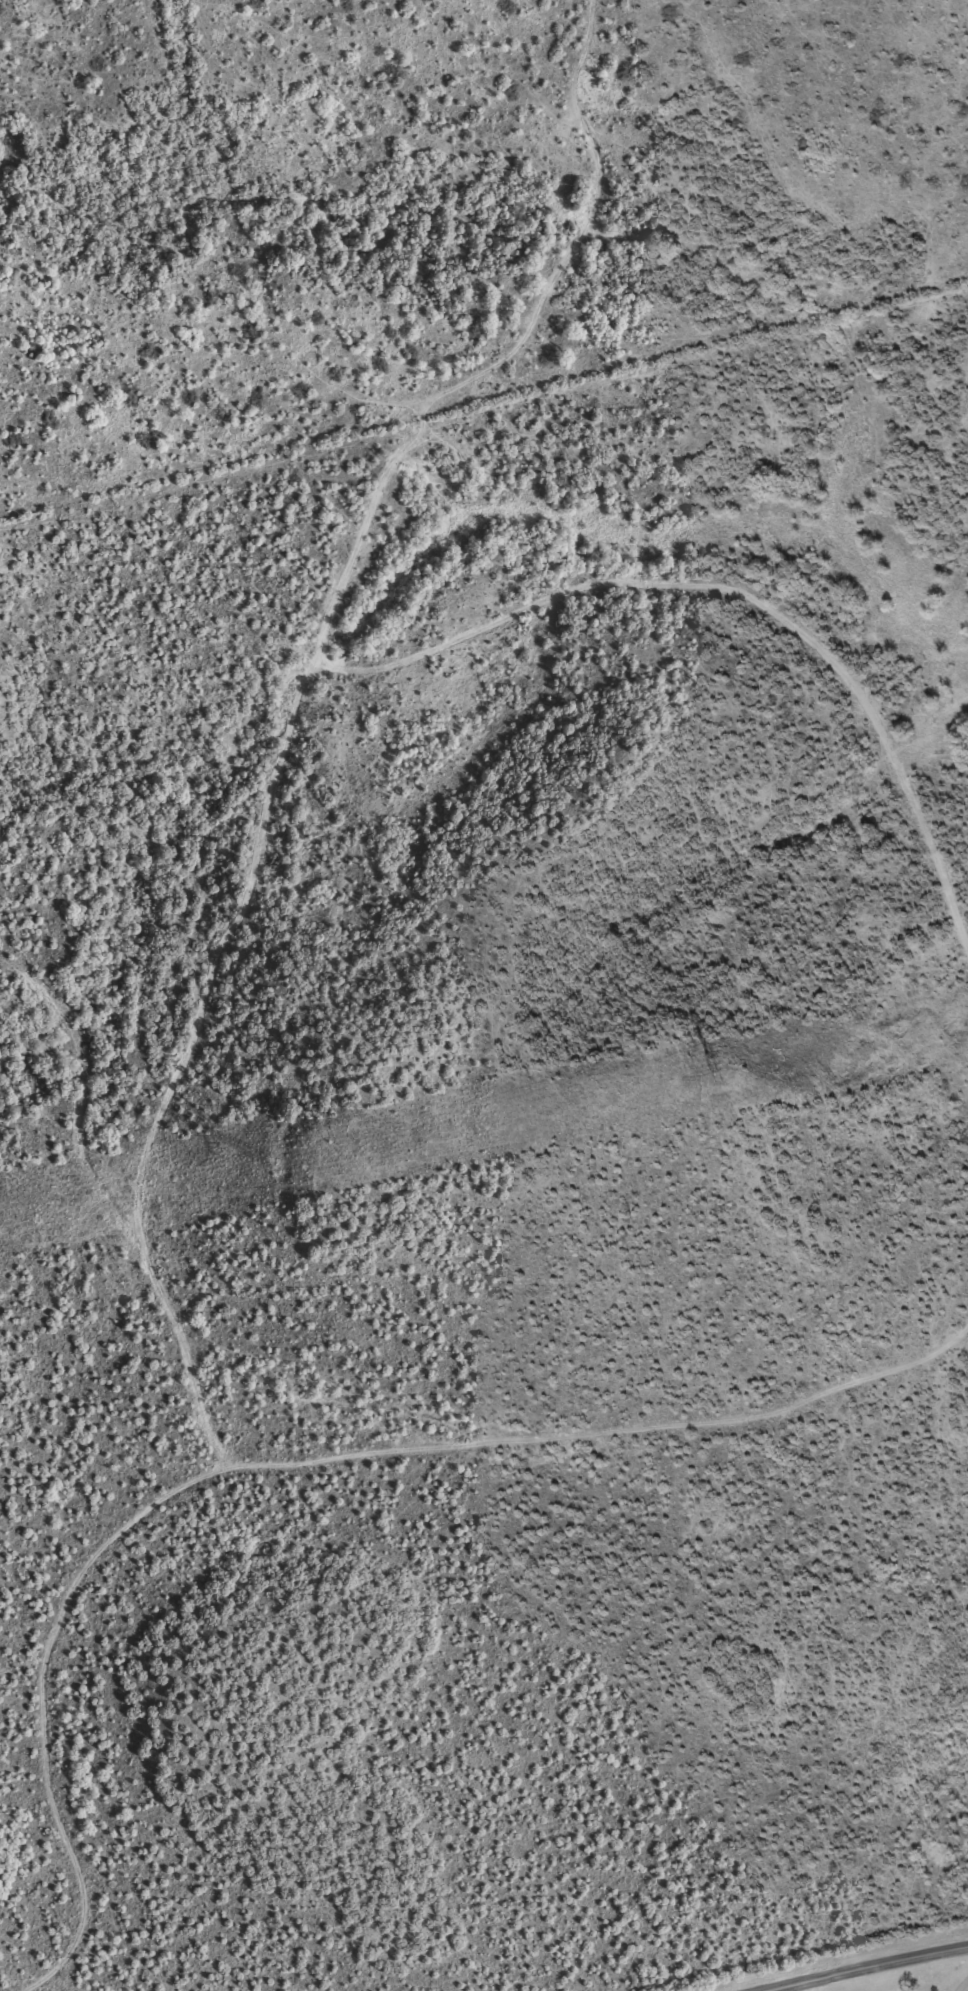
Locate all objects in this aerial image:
power tower: (709, 1080)
power tower: (263, 1163)
road: (294, 1477)
road: (868, 1969)
road: (964, 1987)

